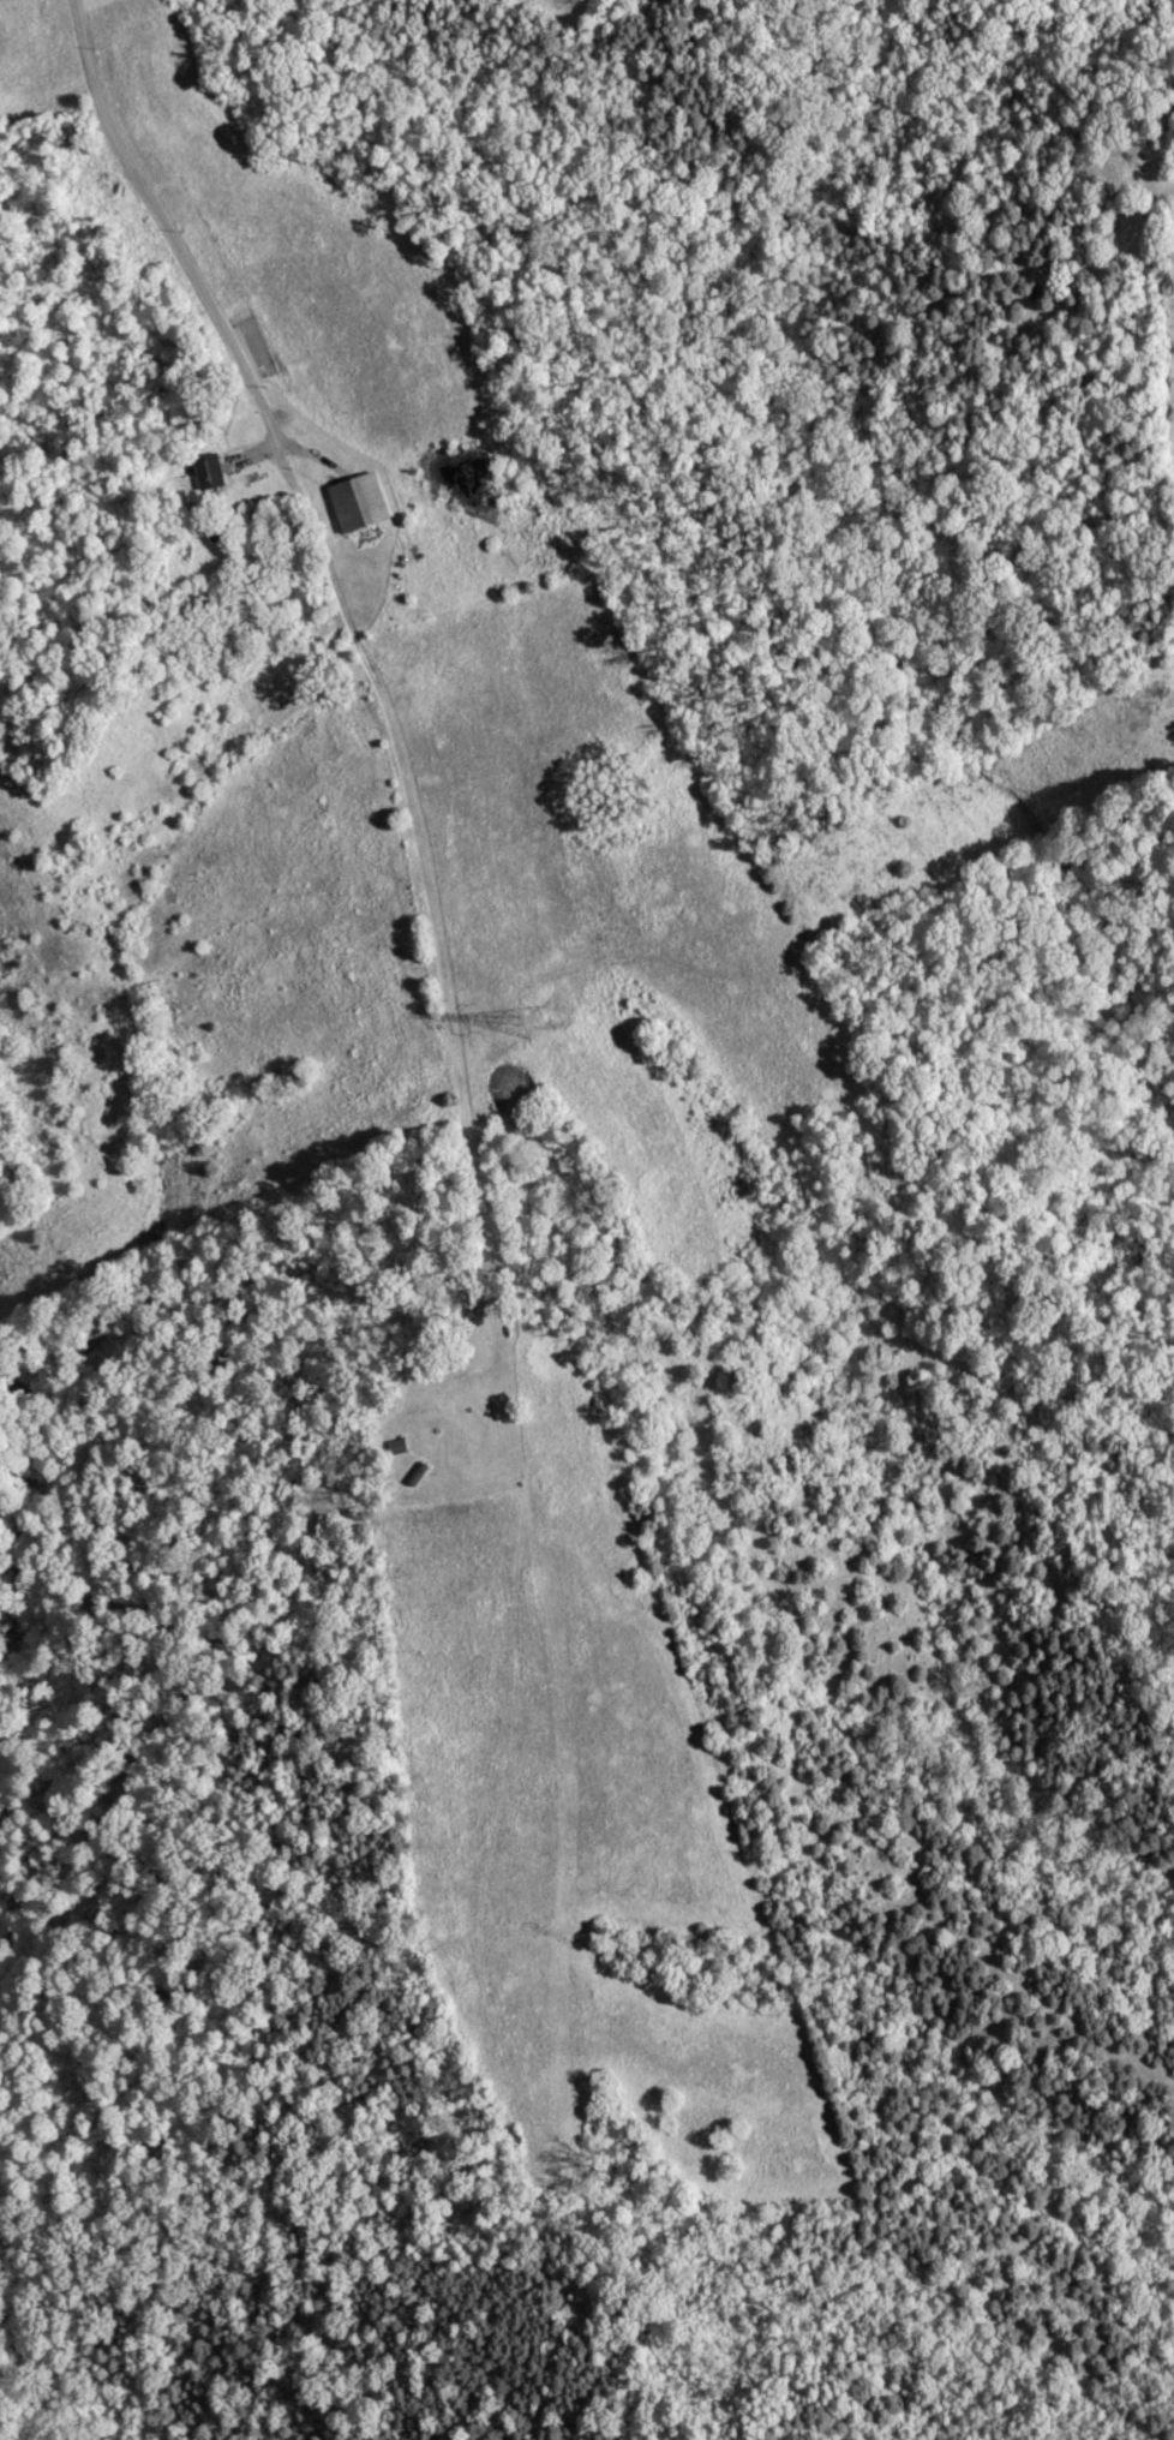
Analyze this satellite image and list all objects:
road: (170, 244)
building: (212, 474)
building: (361, 503)
power tower: (534, 1018)

